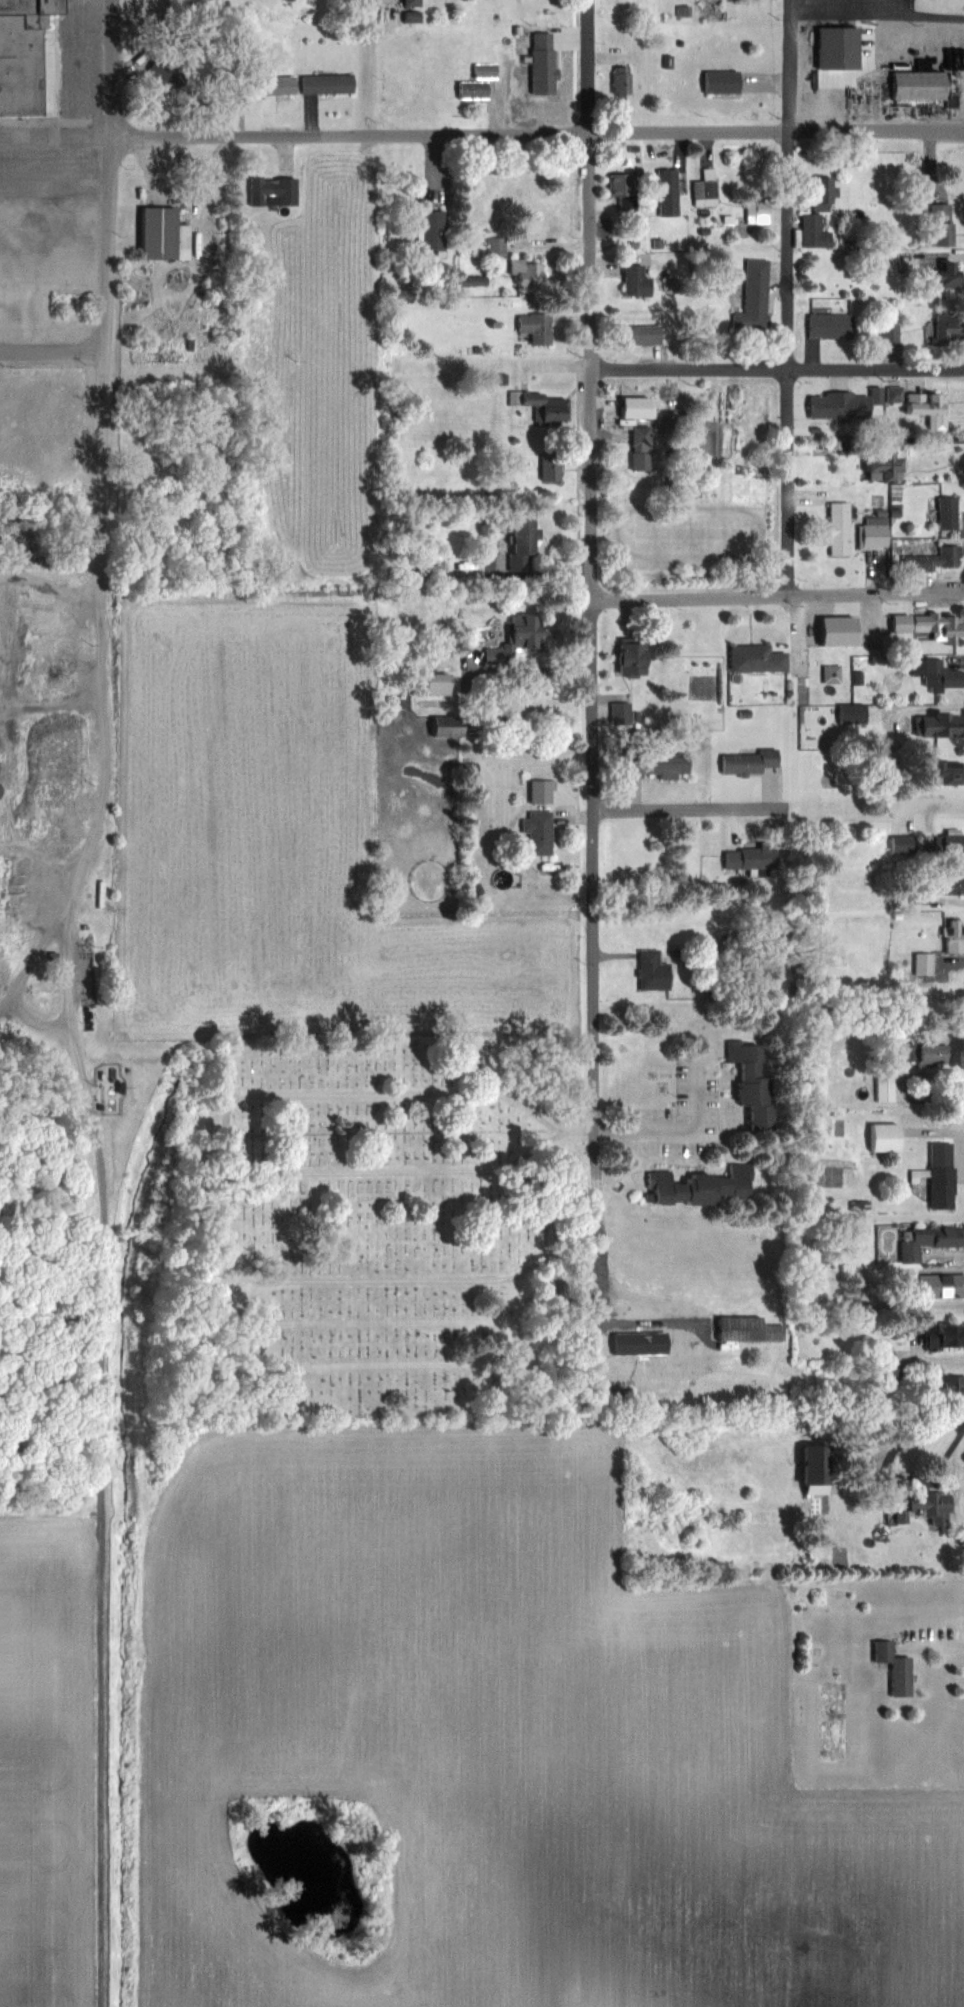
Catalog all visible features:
building: (413, 3)
road: (877, 5)
road: (878, 11)
building: (841, 48)
building: (25, 56)
building: (488, 70)
building: (624, 80)
building: (330, 83)
building: (282, 84)
building: (925, 85)
building: (475, 89)
road: (480, 135)
building: (707, 188)
building: (275, 191)
building: (828, 193)
building: (759, 212)
building: (940, 225)
building: (435, 229)
building: (168, 235)
building: (498, 247)
building: (529, 272)
building: (952, 273)
building: (639, 281)
building: (756, 298)
road: (788, 298)
building: (836, 325)
building: (538, 328)
building: (947, 330)
road: (778, 369)
building: (896, 394)
building: (843, 406)
building: (931, 408)
building: (642, 449)
building: (950, 512)
building: (842, 528)
road: (107, 535)
building: (876, 535)
building: (526, 539)
building: (936, 557)
road: (591, 570)
road: (777, 597)
building: (930, 624)
building: (518, 642)
building: (639, 657)
building: (757, 657)
building: (938, 673)
building: (443, 682)
building: (622, 711)
building: (859, 712)
building: (939, 725)
building: (451, 726)
building: (664, 763)
building: (757, 769)
road: (684, 805)
building: (541, 832)
building: (905, 845)
building: (753, 859)
building: (952, 882)
building: (955, 935)
building: (656, 971)
building: (938, 1053)
building: (753, 1085)
building: (888, 1086)
road: (668, 1127)
building: (891, 1136)
park: (358, 1137)
building: (944, 1175)
building: (698, 1185)
building: (929, 1240)
building: (945, 1285)
park: (358, 1330)
building: (946, 1335)
road: (909, 1431)
building: (820, 1477)
building: (937, 1501)
road: (933, 1645)
building: (900, 1668)

